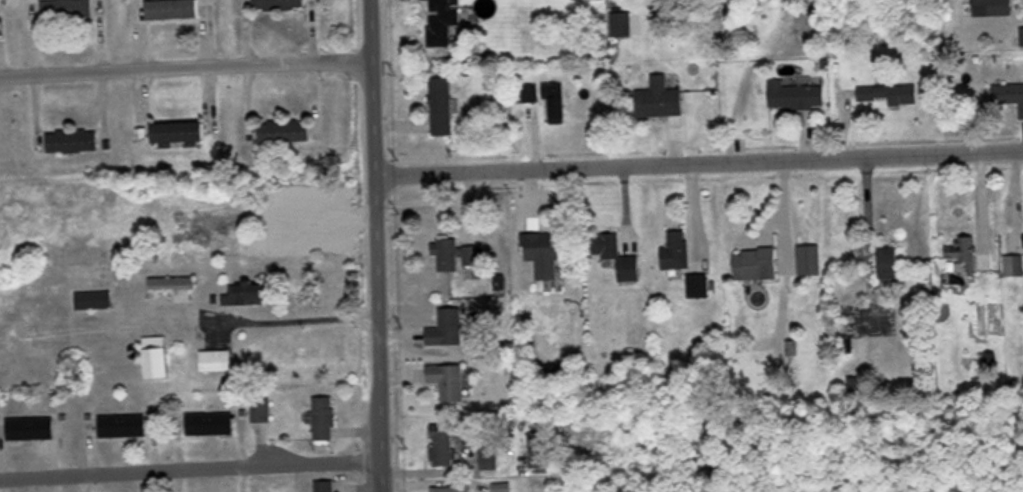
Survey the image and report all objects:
building: (279, 4)
building: (989, 7)
building: (67, 8)
building: (172, 8)
building: (440, 21)
building: (621, 22)
building: (1021, 35)
road: (183, 65)
building: (887, 93)
building: (1010, 93)
building: (795, 94)
building: (659, 97)
building: (556, 102)
building: (440, 105)
building: (284, 130)
building: (178, 132)
building: (72, 139)
road: (697, 158)
road: (373, 245)
building: (676, 249)
building: (963, 250)
building: (546, 251)
building: (457, 254)
building: (616, 254)
building: (809, 258)
building: (756, 262)
building: (890, 264)
building: (1013, 264)
building: (175, 284)
building: (698, 284)
building: (247, 293)
building: (93, 298)
building: (446, 327)
building: (157, 356)
building: (216, 359)
building: (448, 379)
building: (261, 409)
building: (323, 417)
building: (210, 422)
building: (122, 424)
building: (30, 427)
building: (441, 443)
building: (542, 451)
road: (189, 466)
building: (325, 485)
building: (502, 486)
building: (451, 488)

